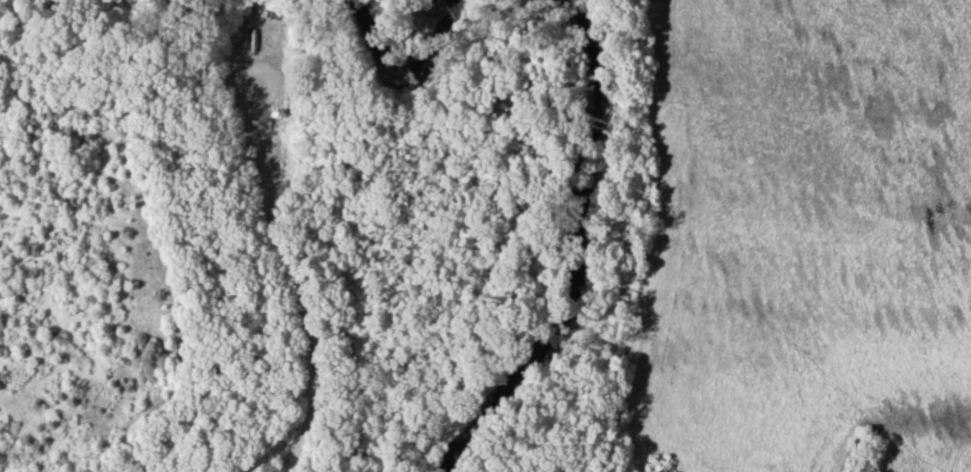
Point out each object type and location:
road: (247, 76)
road: (301, 312)

